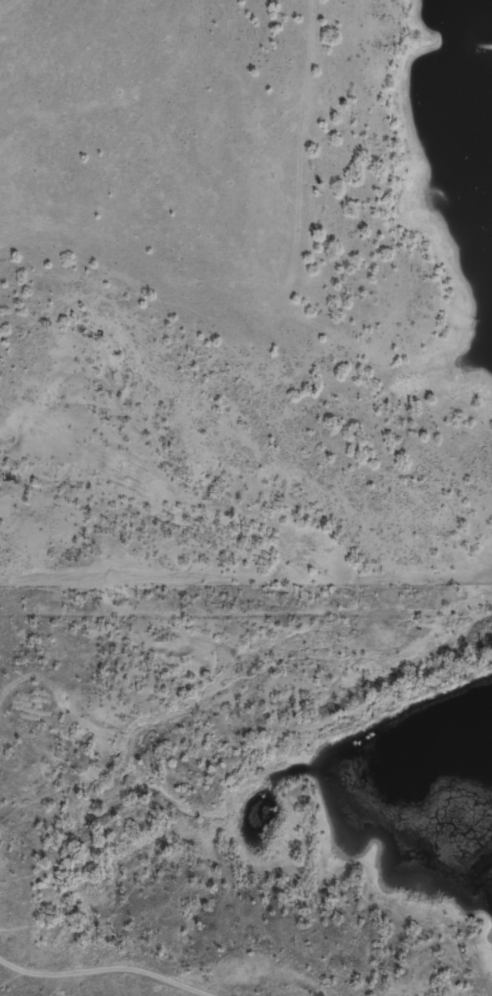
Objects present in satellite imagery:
dam: (349, 712)

